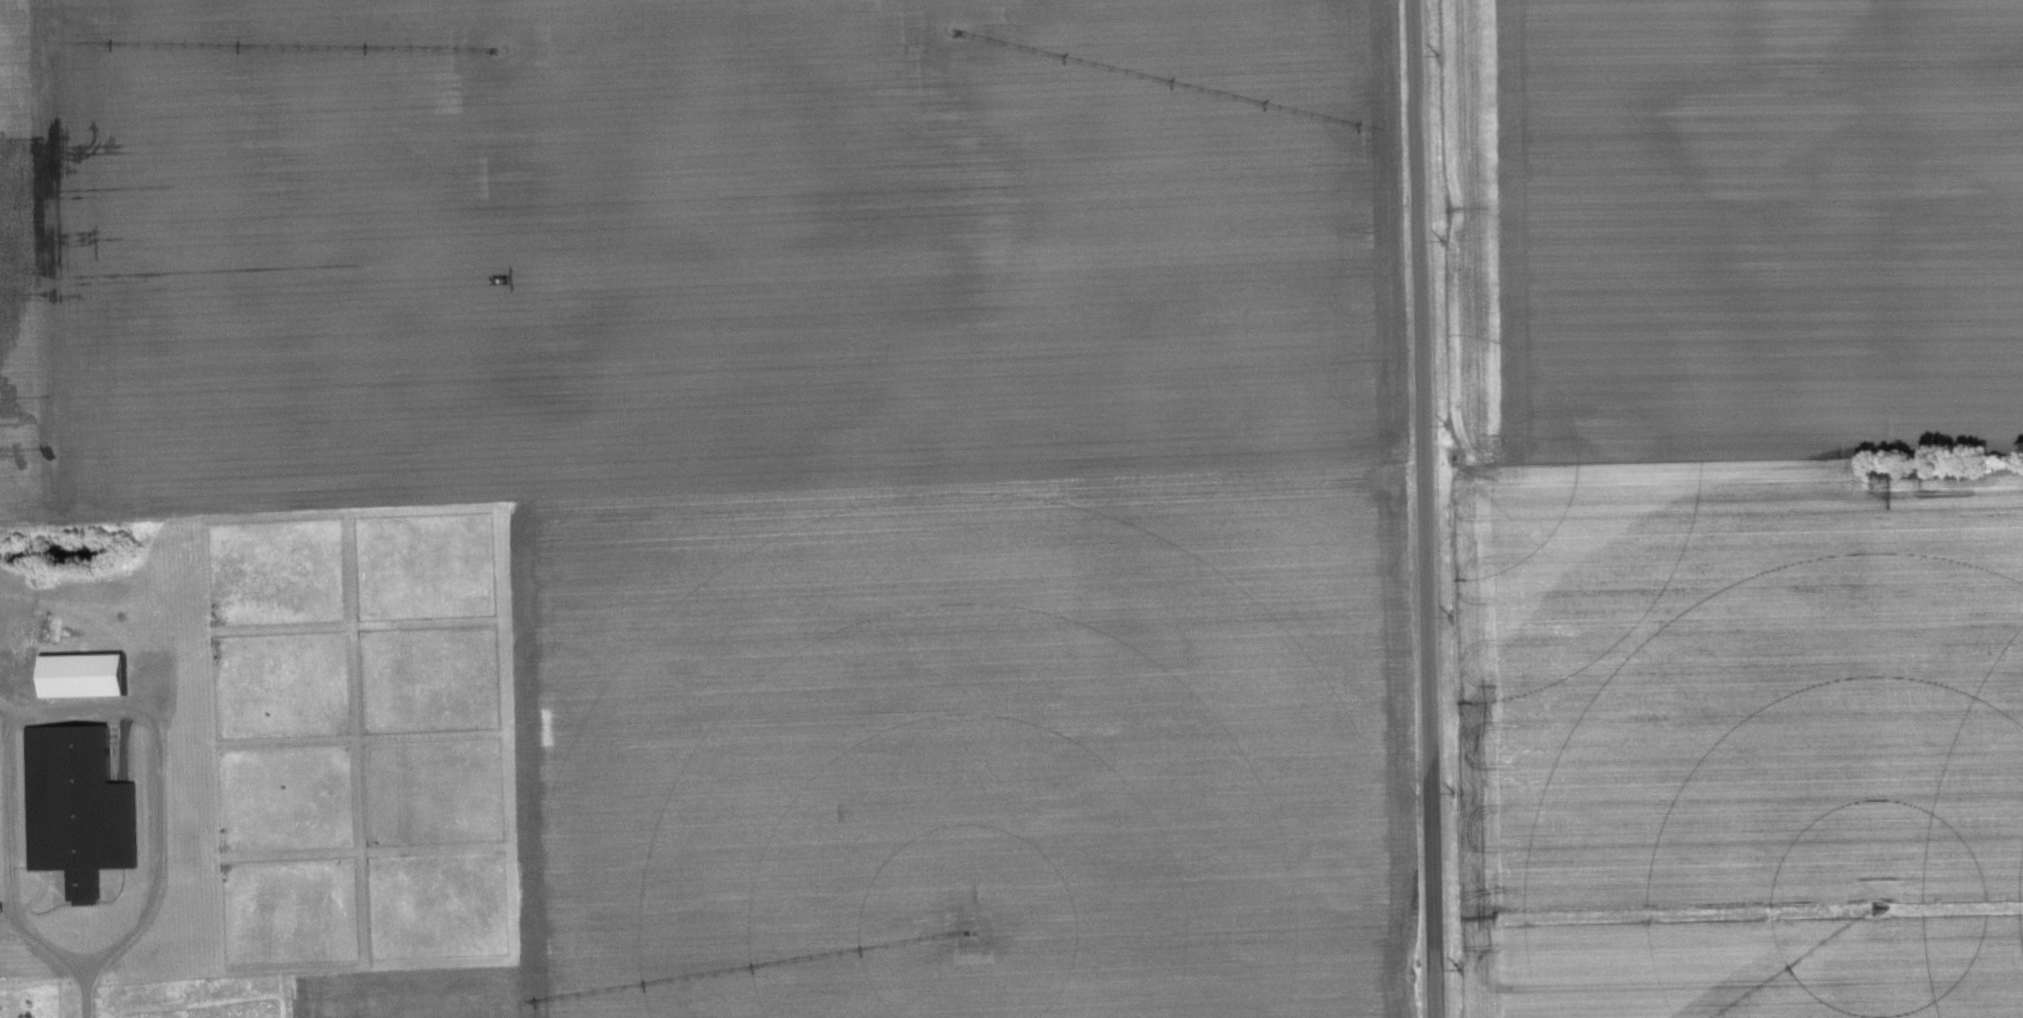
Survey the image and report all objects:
crop: (1766, 225)
crop: (711, 246)
crop: (35, 274)
road: (1421, 509)
building: (81, 673)
crop: (1720, 692)
road: (82, 709)
crop: (961, 751)
building: (76, 806)
road: (78, 993)
crop: (407, 994)

